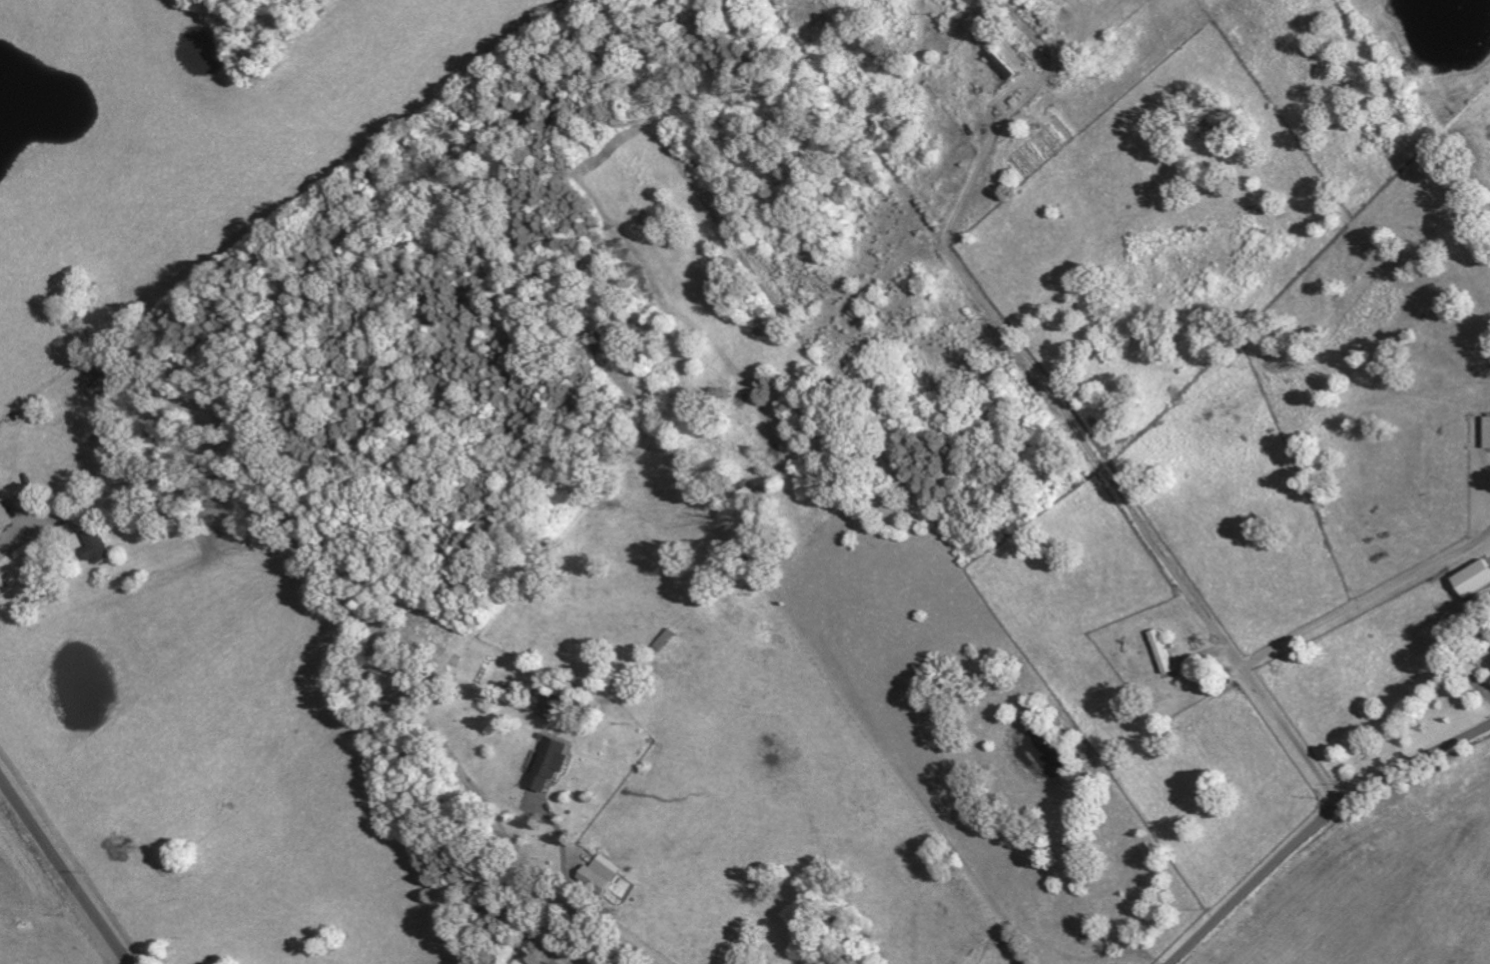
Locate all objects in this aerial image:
building: (1488, 432)
road: (1103, 468)
building: (5, 518)
road: (22, 538)
building: (96, 545)
building: (1475, 579)
road: (1361, 601)
building: (551, 700)
building: (550, 764)
road: (1319, 827)
road: (64, 871)
building: (601, 873)
road: (582, 900)

